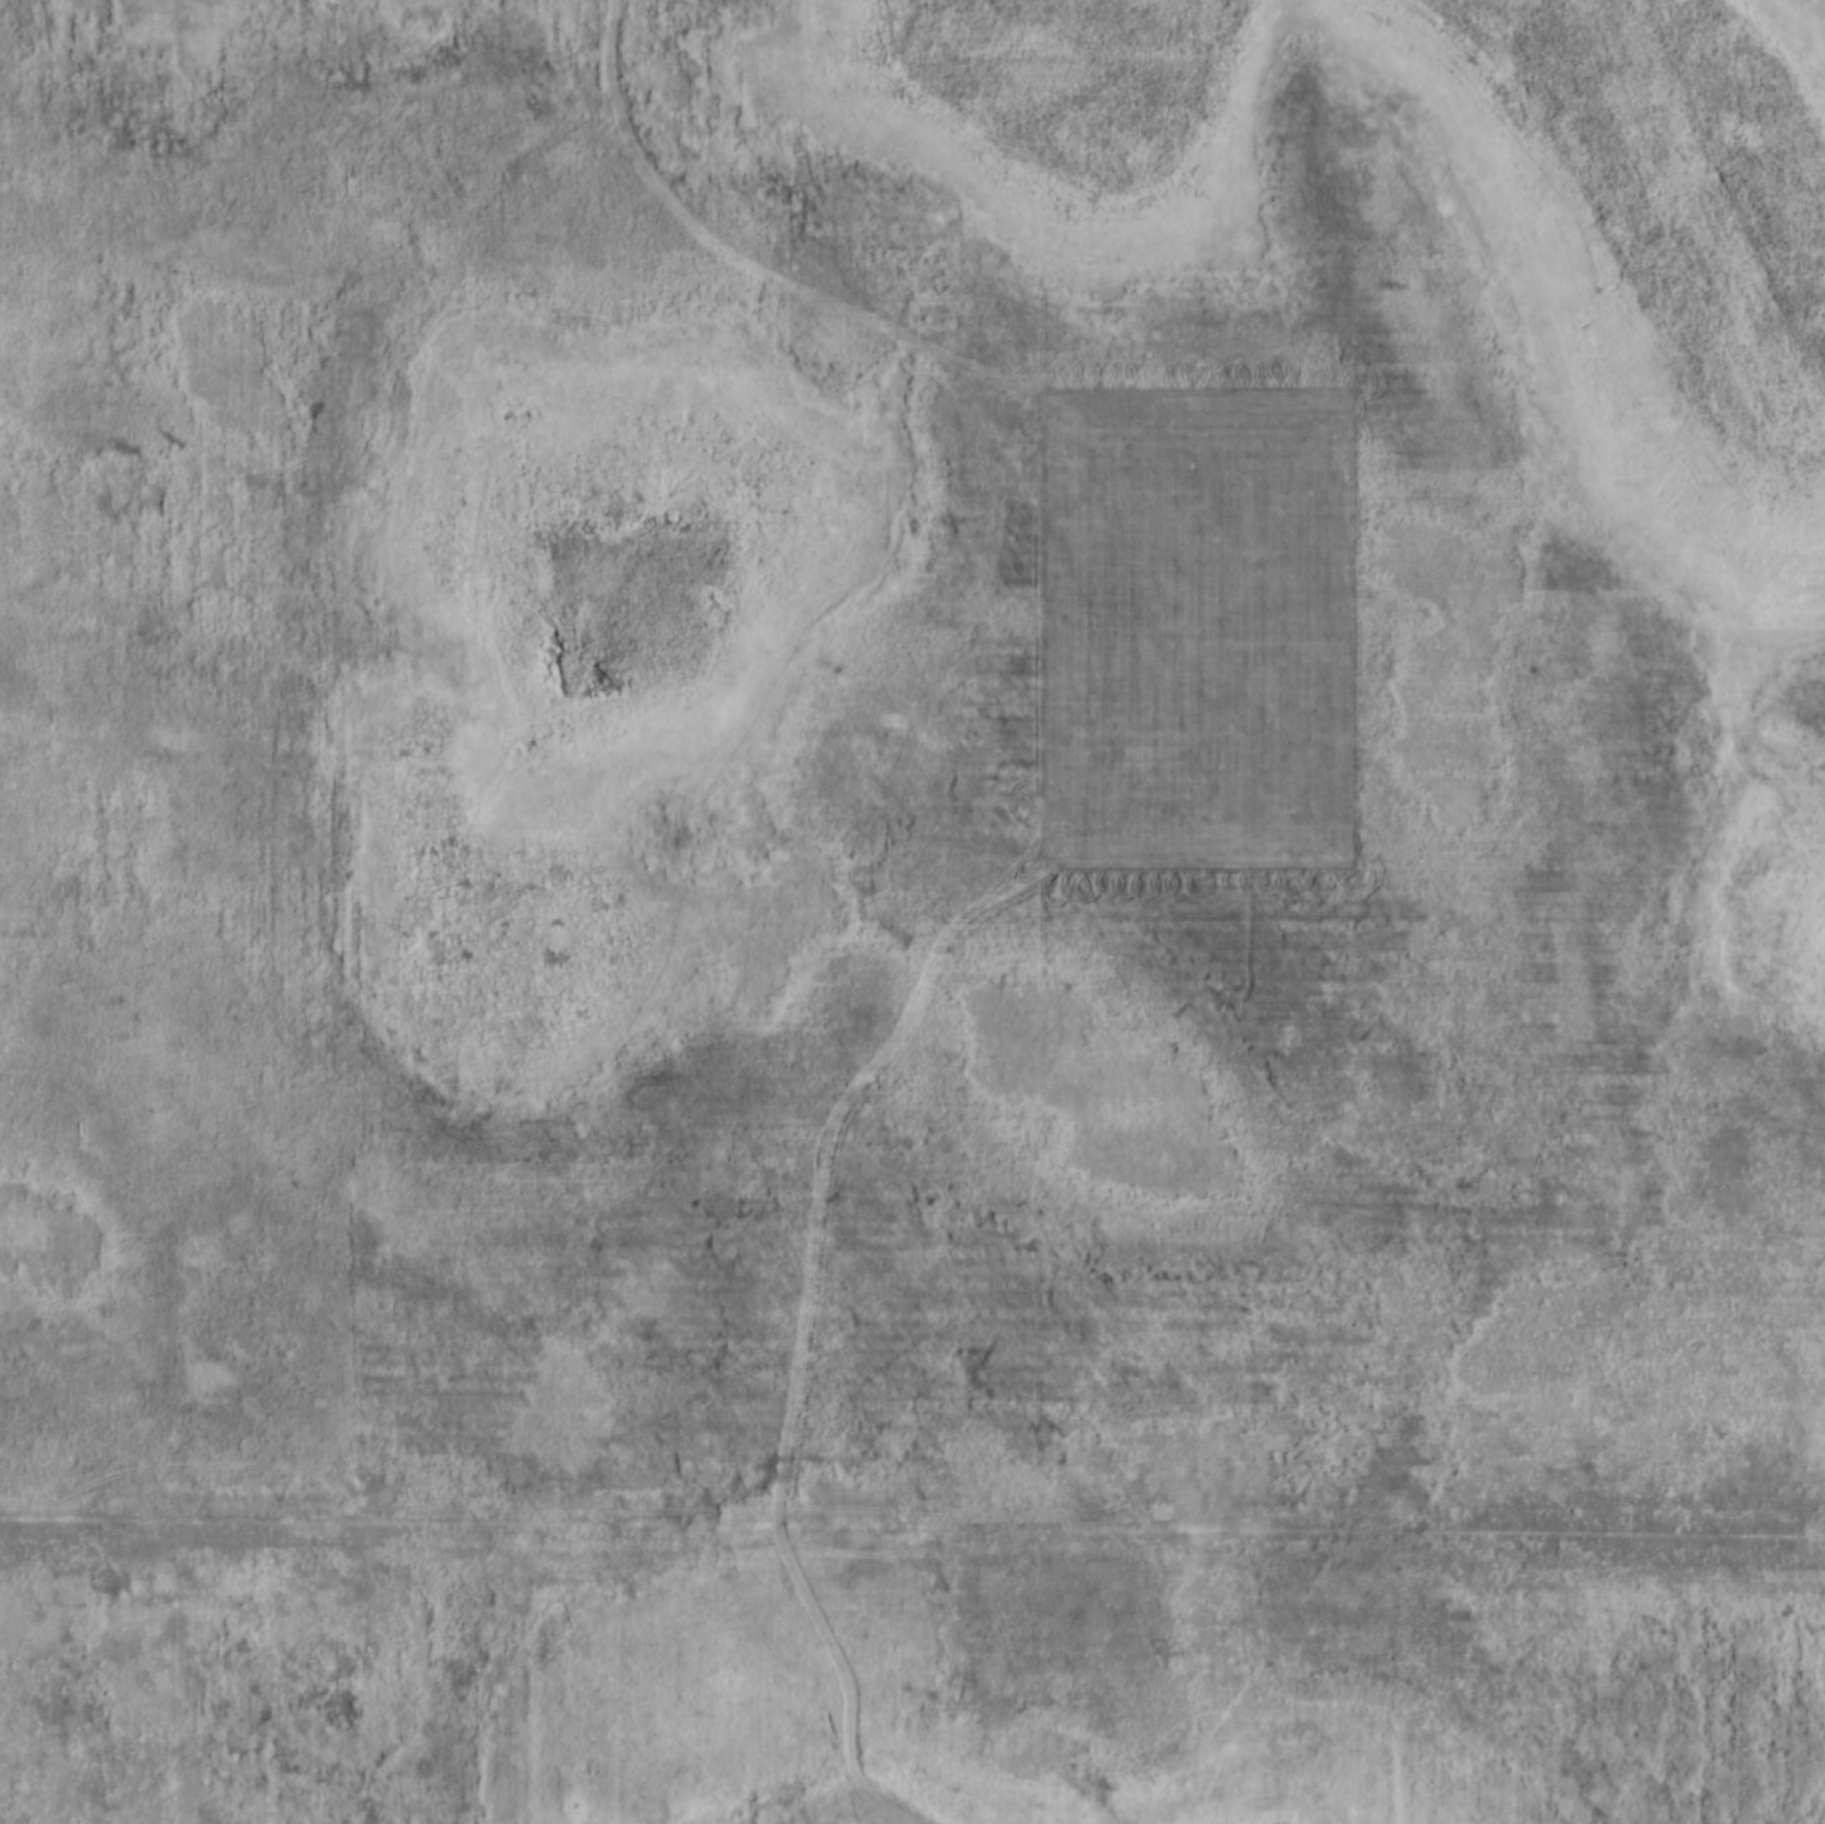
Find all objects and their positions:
building: (883, 1286)

